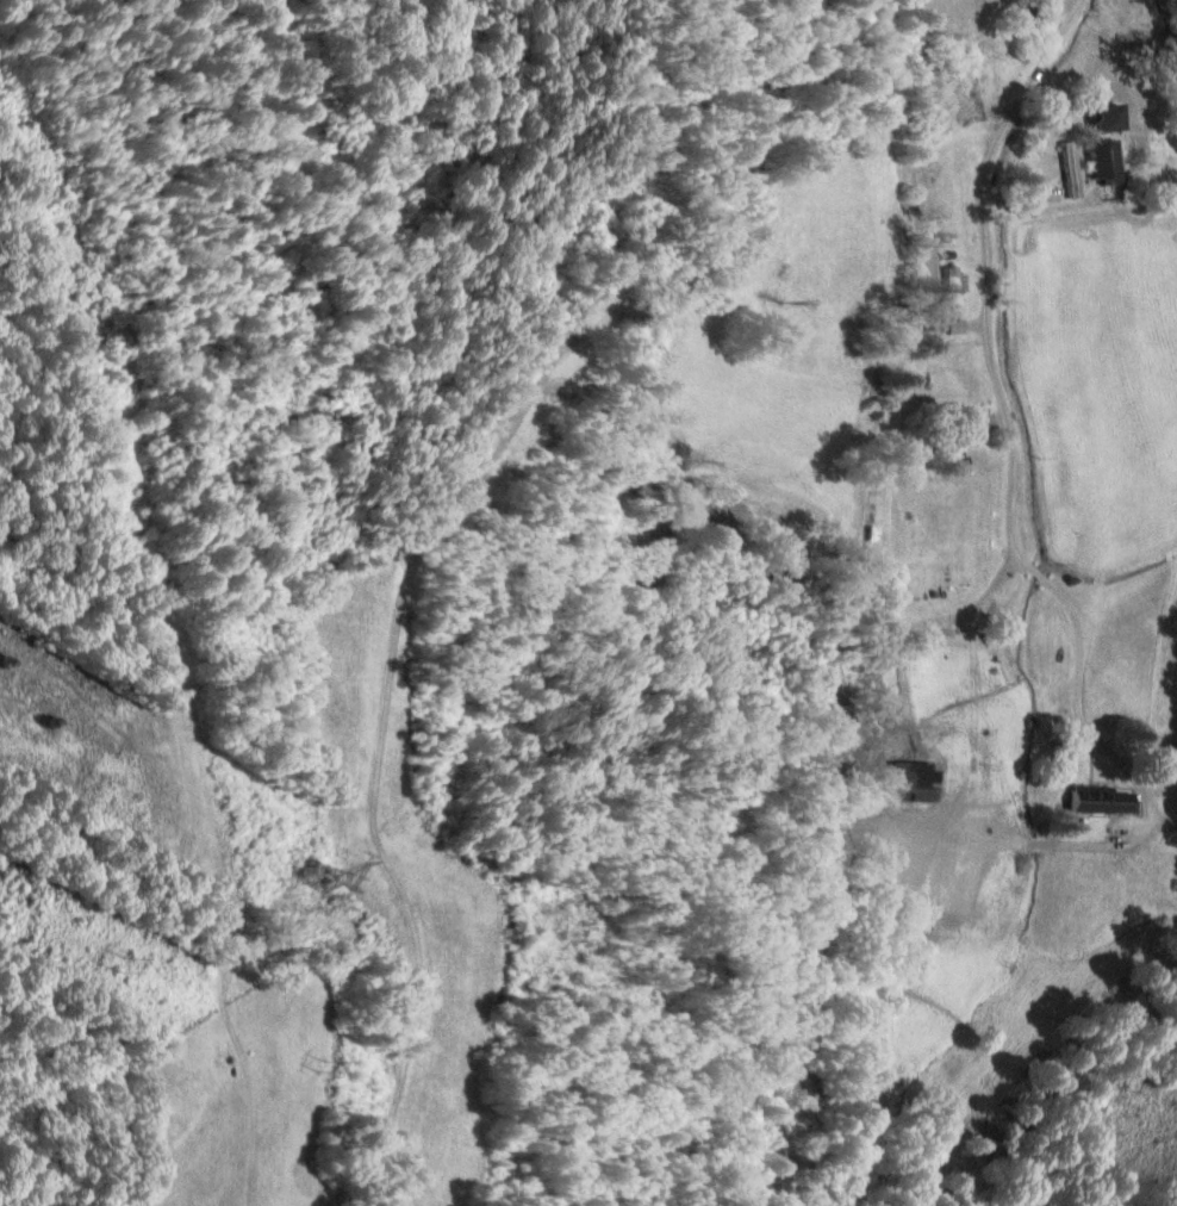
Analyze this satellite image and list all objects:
building: (1125, 14)
building: (965, 95)
building: (1110, 117)
building: (1108, 167)
building: (1072, 168)
building: (947, 207)
road: (985, 265)
building: (954, 288)
building: (957, 327)
building: (954, 462)
building: (872, 541)
building: (1102, 800)
power tower: (313, 876)

